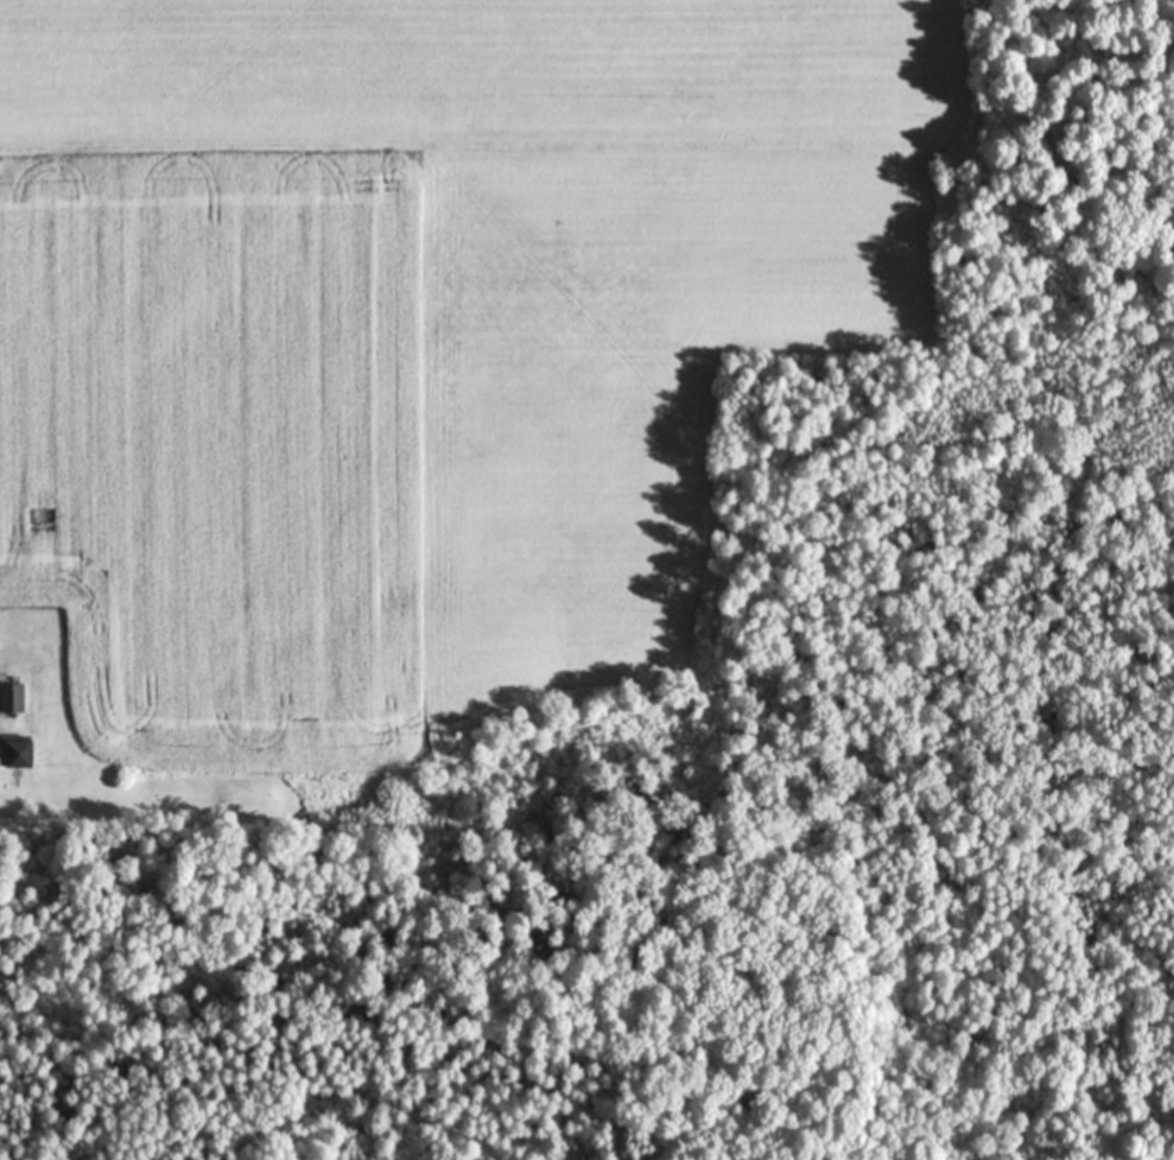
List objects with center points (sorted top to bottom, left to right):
building: (13, 698)
building: (20, 753)

